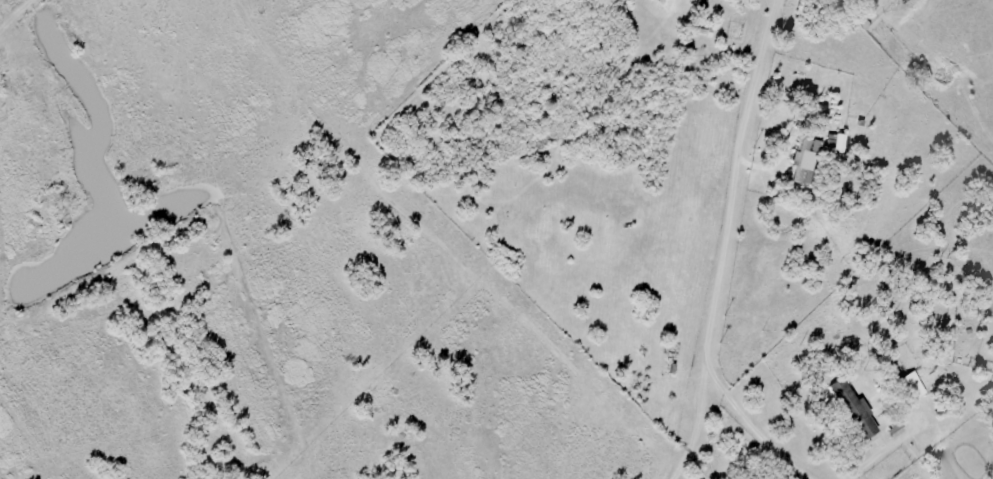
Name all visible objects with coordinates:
building: (842, 1)
building: (835, 142)
building: (803, 158)
road: (733, 173)
building: (910, 386)
building: (858, 415)
building: (894, 430)

